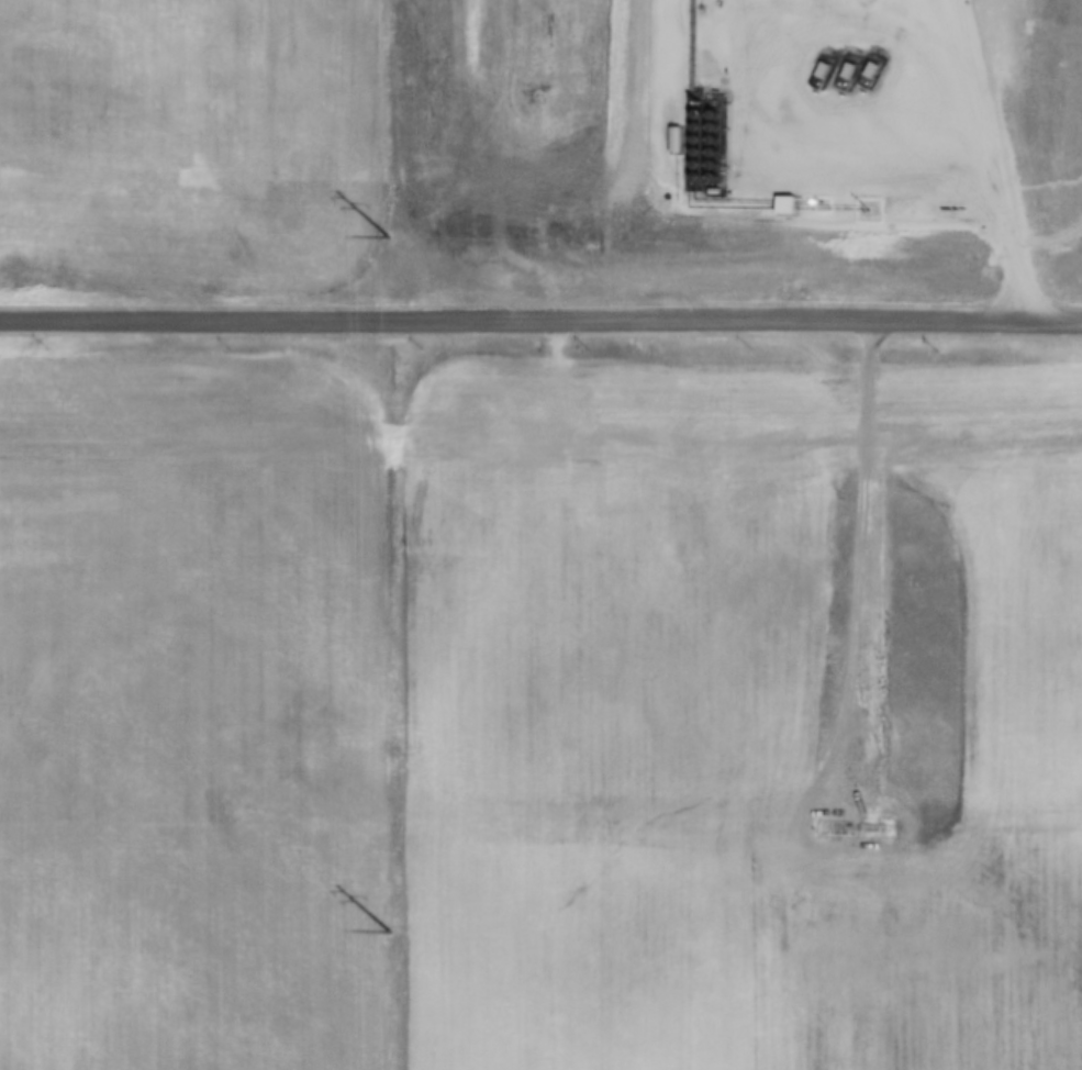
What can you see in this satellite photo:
road: (824, 24)
petroleum well: (869, 63)
petroleum well: (845, 64)
petroleum well: (817, 67)
building: (671, 138)
building: (711, 191)
building: (780, 204)
power tower: (391, 238)
road: (540, 324)
power tower: (394, 932)

